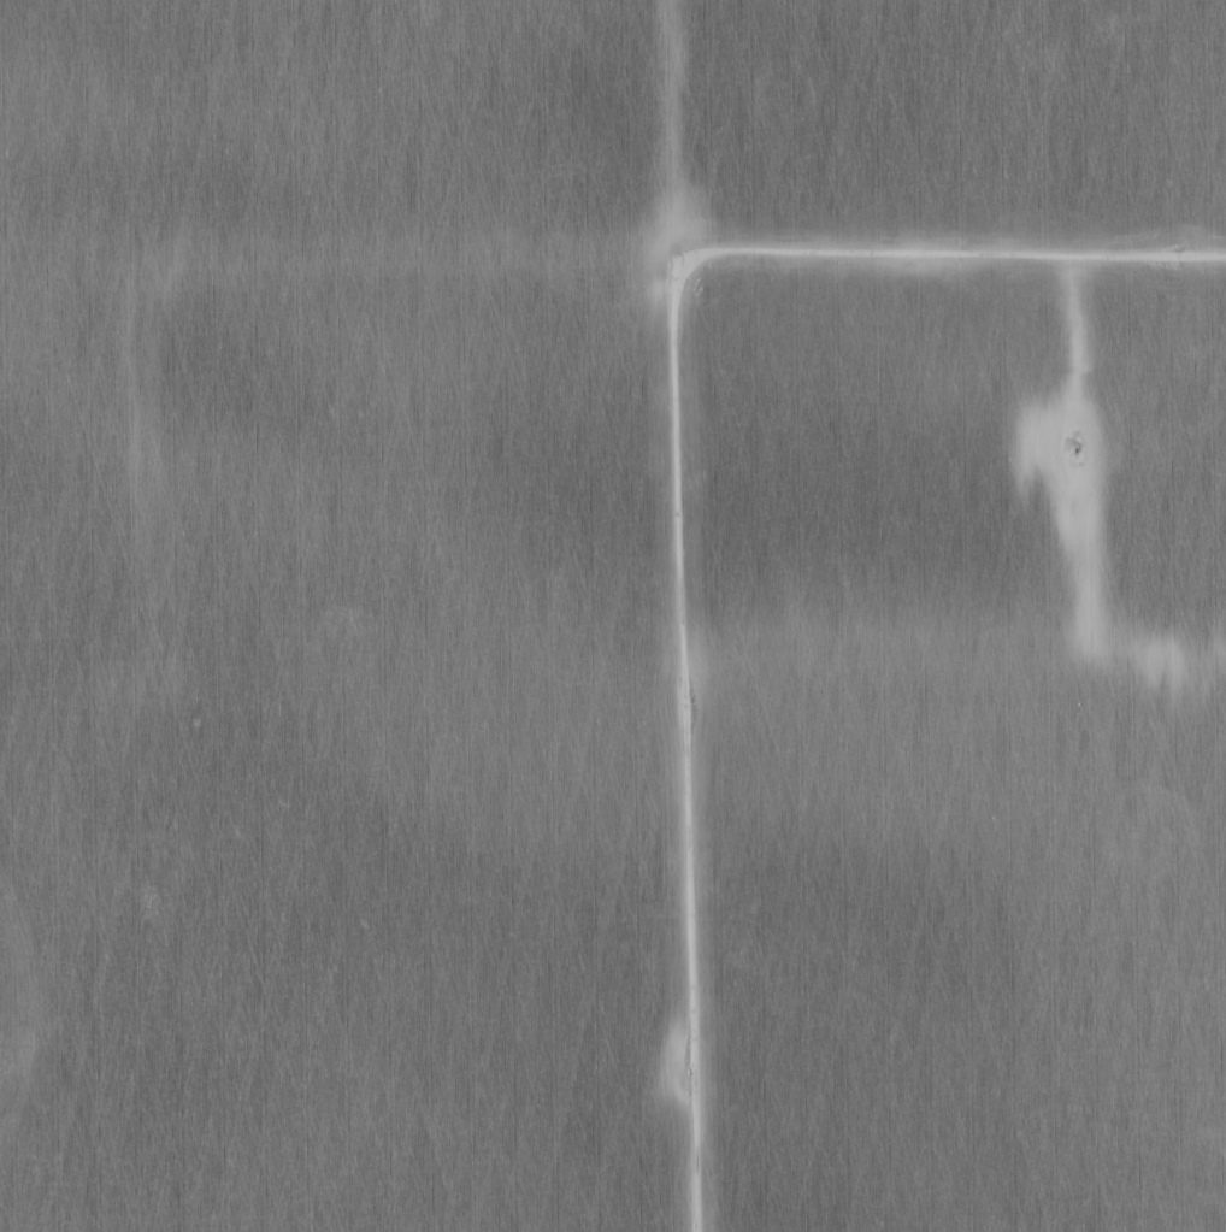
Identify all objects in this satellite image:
road: (682, 473)

